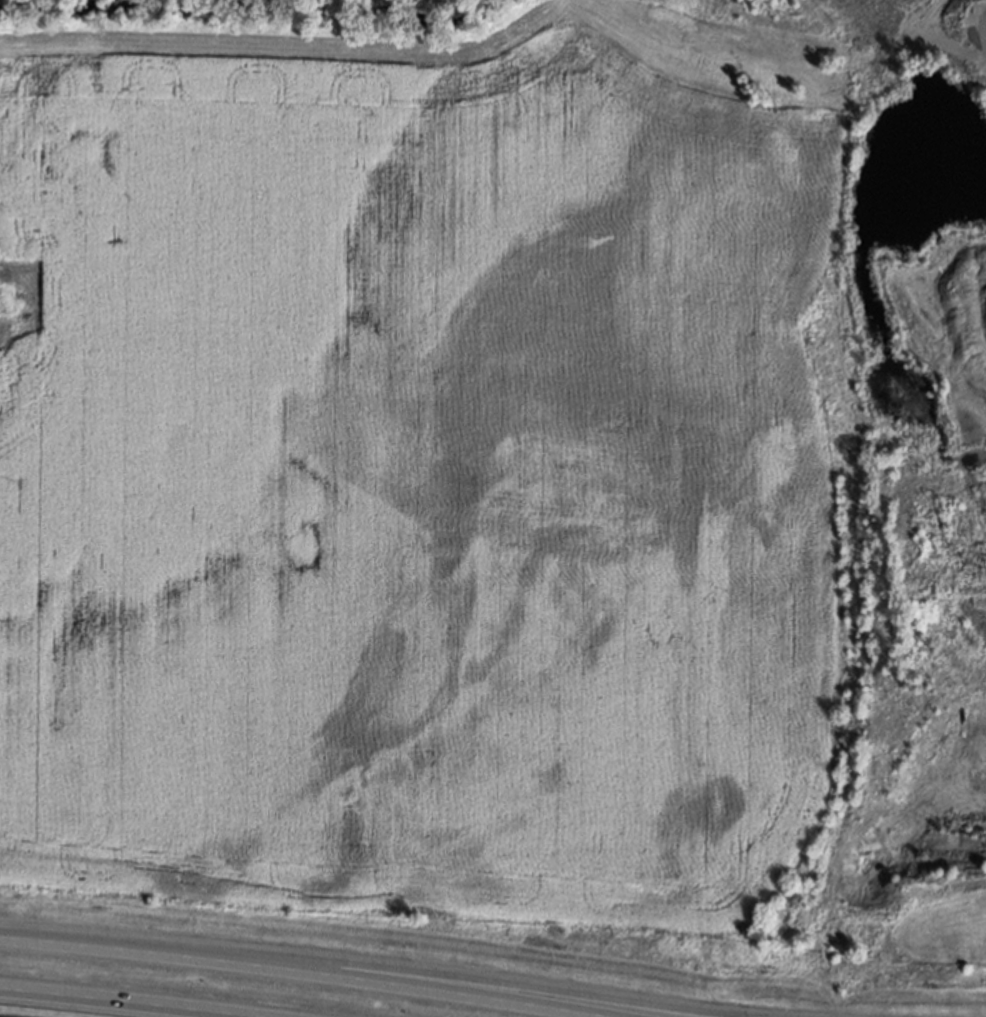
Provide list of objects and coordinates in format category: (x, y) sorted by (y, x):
quarry: (911, 487)
road: (308, 968)
road: (127, 999)
road: (665, 1008)

